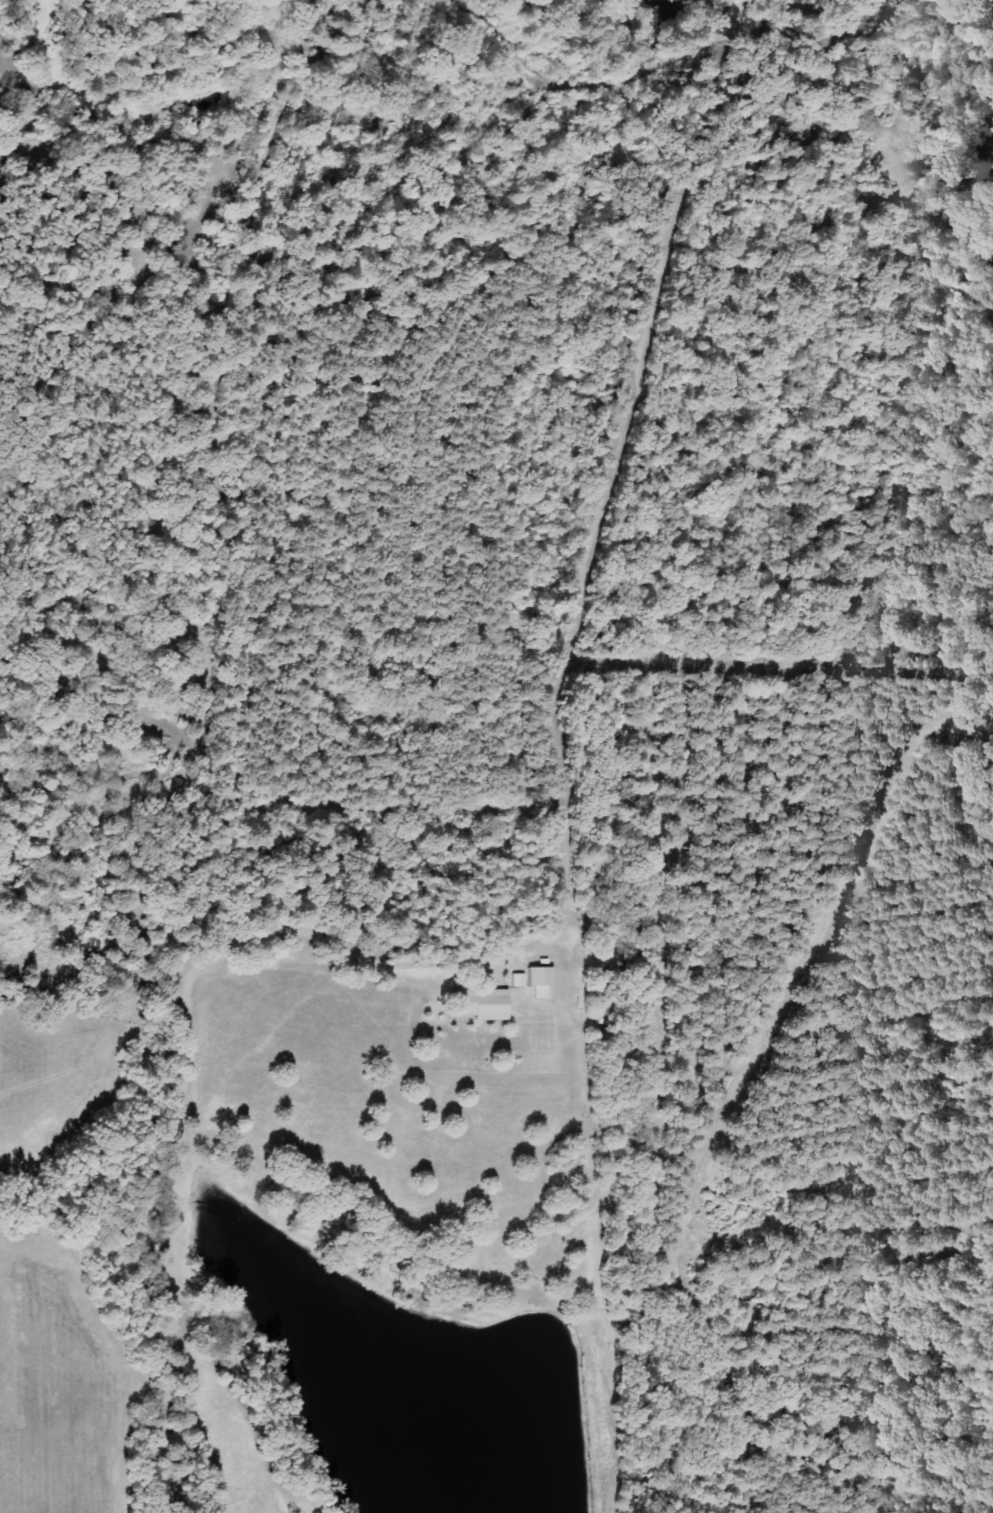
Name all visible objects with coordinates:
building: (541, 982)
building: (485, 1005)

